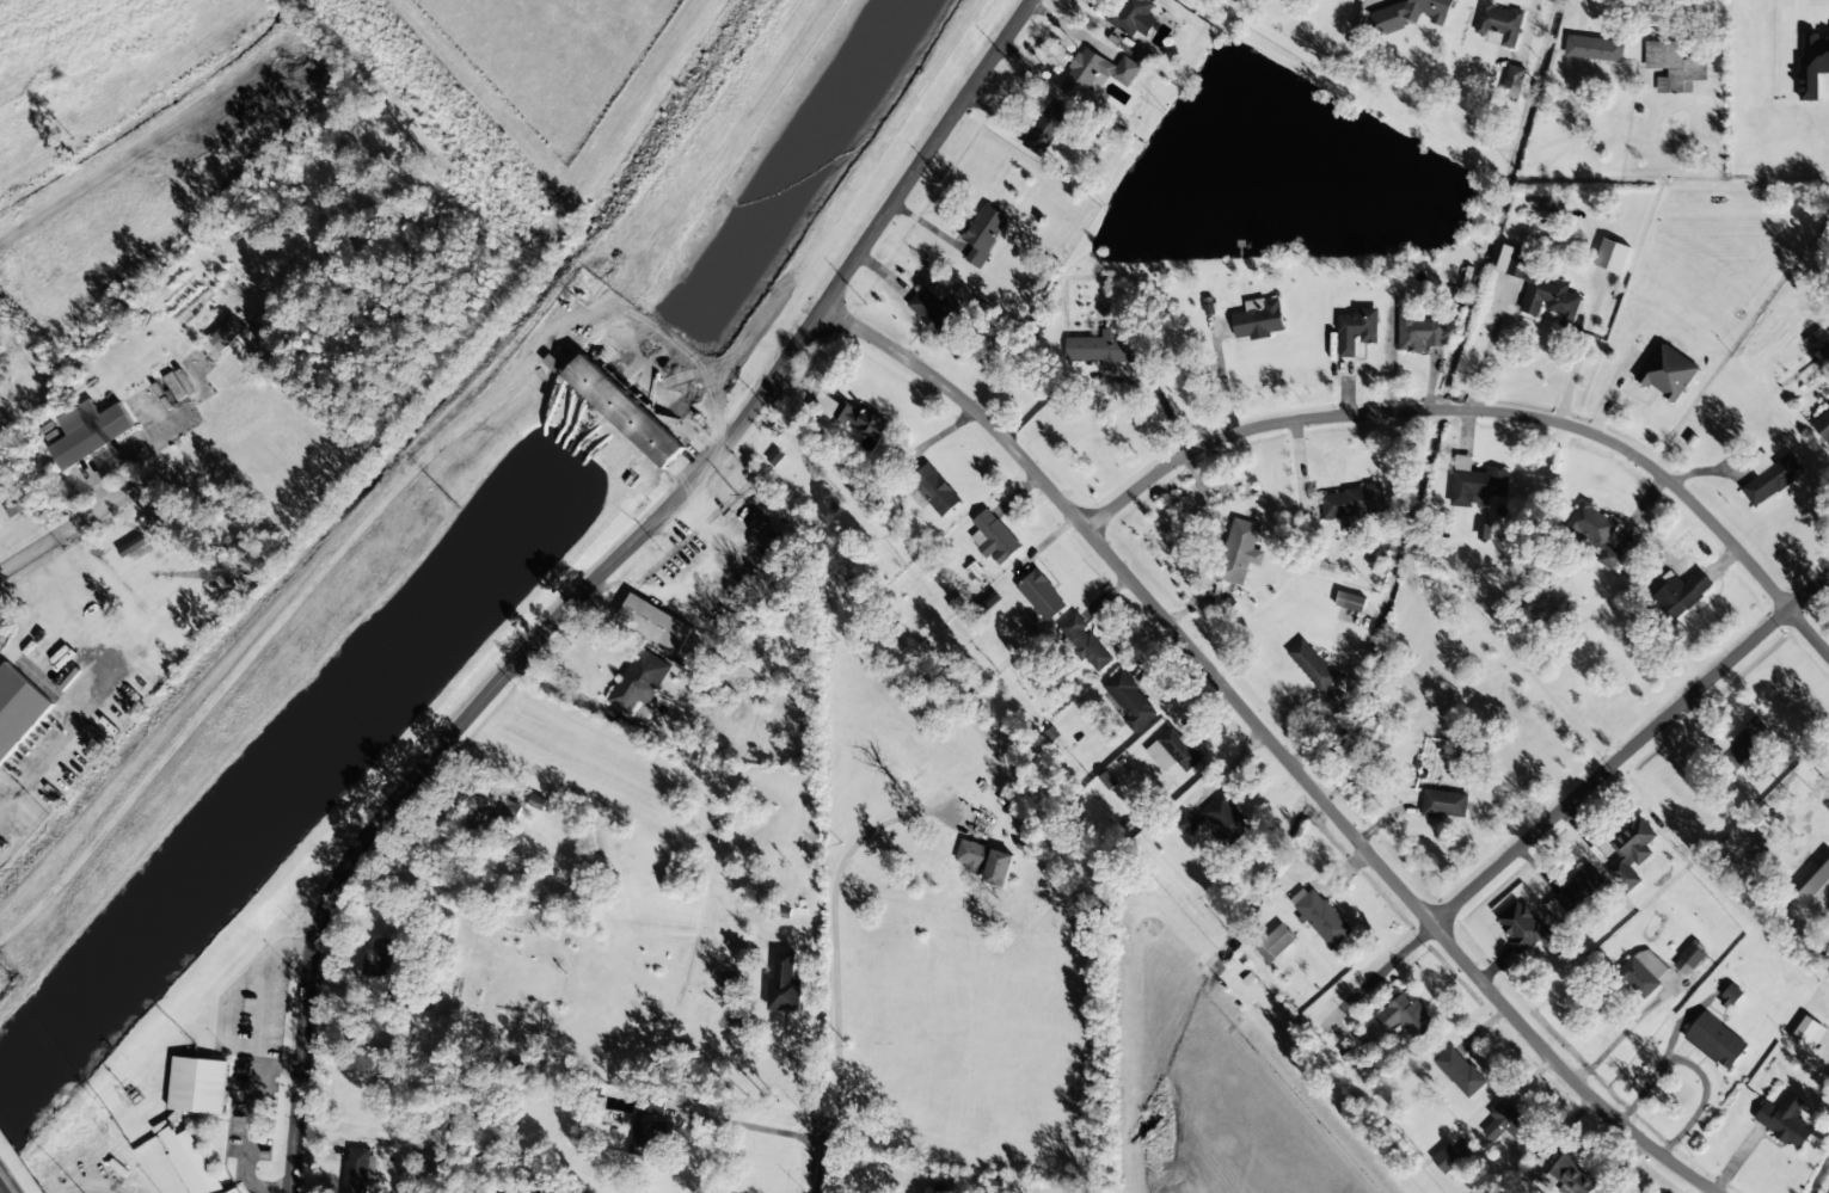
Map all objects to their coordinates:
building: (1410, 13)
building: (1133, 17)
building: (1498, 24)
building: (1592, 47)
building: (1812, 63)
building: (1093, 73)
building: (1512, 81)
building: (1045, 127)
building: (983, 233)
building: (1612, 256)
building: (1538, 287)
building: (929, 309)
building: (1258, 320)
building: (1355, 330)
building: (1417, 330)
building: (226, 334)
building: (1104, 348)
building: (1667, 371)
building: (822, 406)
building: (633, 411)
road: (1487, 413)
building: (865, 420)
building: (1823, 425)
building: (88, 431)
building: (1769, 480)
building: (1474, 482)
building: (931, 491)
building: (1351, 502)
building: (17, 509)
road: (63, 530)
building: (1594, 530)
building: (1484, 531)
building: (993, 537)
building: (133, 546)
building: (1238, 551)
road: (602, 576)
building: (1680, 594)
building: (1041, 595)
building: (989, 601)
building: (1350, 601)
building: (79, 603)
building: (653, 622)
building: (1084, 642)
building: (1312, 665)
building: (637, 682)
building: (1129, 700)
building: (17, 708)
road: (1276, 743)
building: (1738, 744)
building: (1178, 749)
building: (513, 794)
road: (1576, 799)
building: (1825, 801)
building: (1443, 802)
building: (541, 804)
building: (1226, 819)
building: (984, 826)
building: (1628, 853)
building: (970, 855)
building: (998, 867)
building: (1816, 890)
building: (1572, 892)
building: (1321, 917)
building: (1520, 926)
building: (1275, 945)
building: (379, 957)
building: (1688, 959)
building: (1641, 971)
building: (784, 985)
building: (1730, 996)
building: (1405, 1015)
building: (1716, 1041)
building: (1459, 1071)
building: (197, 1084)
building: (1785, 1120)
building: (1509, 1125)
building: (649, 1130)
road: (817, 1155)
building: (1447, 1158)
building: (190, 1161)
building: (355, 1170)
building: (1569, 1176)
road: (4, 1187)
building: (234, 1191)

